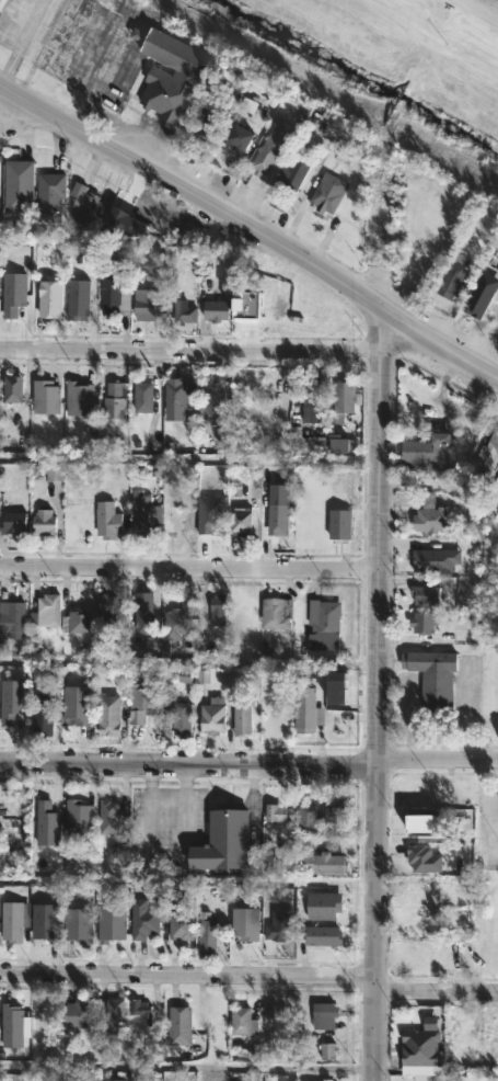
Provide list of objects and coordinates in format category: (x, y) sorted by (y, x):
building: (1, 2)
road: (479, 10)
park: (373, 66)
building: (169, 73)
building: (210, 115)
road: (21, 116)
building: (236, 138)
building: (268, 156)
building: (290, 175)
building: (18, 185)
building: (326, 193)
building: (48, 196)
building: (85, 206)
building: (125, 225)
road: (247, 227)
building: (447, 285)
building: (11, 291)
building: (112, 298)
building: (48, 299)
building: (477, 299)
building: (77, 300)
building: (252, 304)
building: (143, 305)
building: (215, 310)
building: (183, 312)
road: (189, 351)
building: (11, 388)
building: (174, 394)
building: (78, 397)
building: (142, 397)
building: (44, 398)
building: (314, 398)
building: (114, 399)
building: (212, 399)
building: (341, 400)
building: (333, 444)
building: (488, 450)
building: (426, 455)
building: (496, 482)
building: (277, 510)
building: (209, 512)
building: (144, 514)
building: (428, 515)
building: (12, 517)
building: (106, 521)
building: (42, 522)
building: (239, 522)
building: (338, 524)
building: (432, 557)
road: (189, 569)
building: (424, 593)
building: (216, 608)
building: (45, 610)
building: (147, 611)
building: (275, 613)
building: (104, 616)
building: (11, 619)
building: (76, 621)
building: (178, 621)
building: (421, 622)
building: (321, 623)
building: (432, 679)
building: (336, 687)
road: (378, 692)
building: (10, 697)
building: (140, 699)
building: (74, 703)
building: (304, 708)
building: (241, 714)
building: (107, 715)
building: (211, 715)
building: (181, 718)
building: (43, 720)
building: (343, 722)
road: (248, 763)
building: (333, 812)
building: (277, 813)
building: (108, 816)
building: (305, 817)
building: (81, 818)
building: (48, 822)
building: (223, 841)
building: (323, 860)
building: (417, 892)
building: (324, 902)
building: (142, 919)
building: (15, 920)
building: (46, 921)
building: (109, 921)
building: (244, 923)
building: (80, 924)
building: (280, 924)
building: (179, 925)
building: (206, 934)
building: (322, 935)
road: (248, 979)
building: (139, 1010)
building: (79, 1013)
building: (322, 1014)
building: (113, 1016)
building: (242, 1021)
building: (12, 1024)
building: (179, 1025)
building: (329, 1052)
building: (114, 1079)
building: (325, 1079)
building: (260, 1080)

